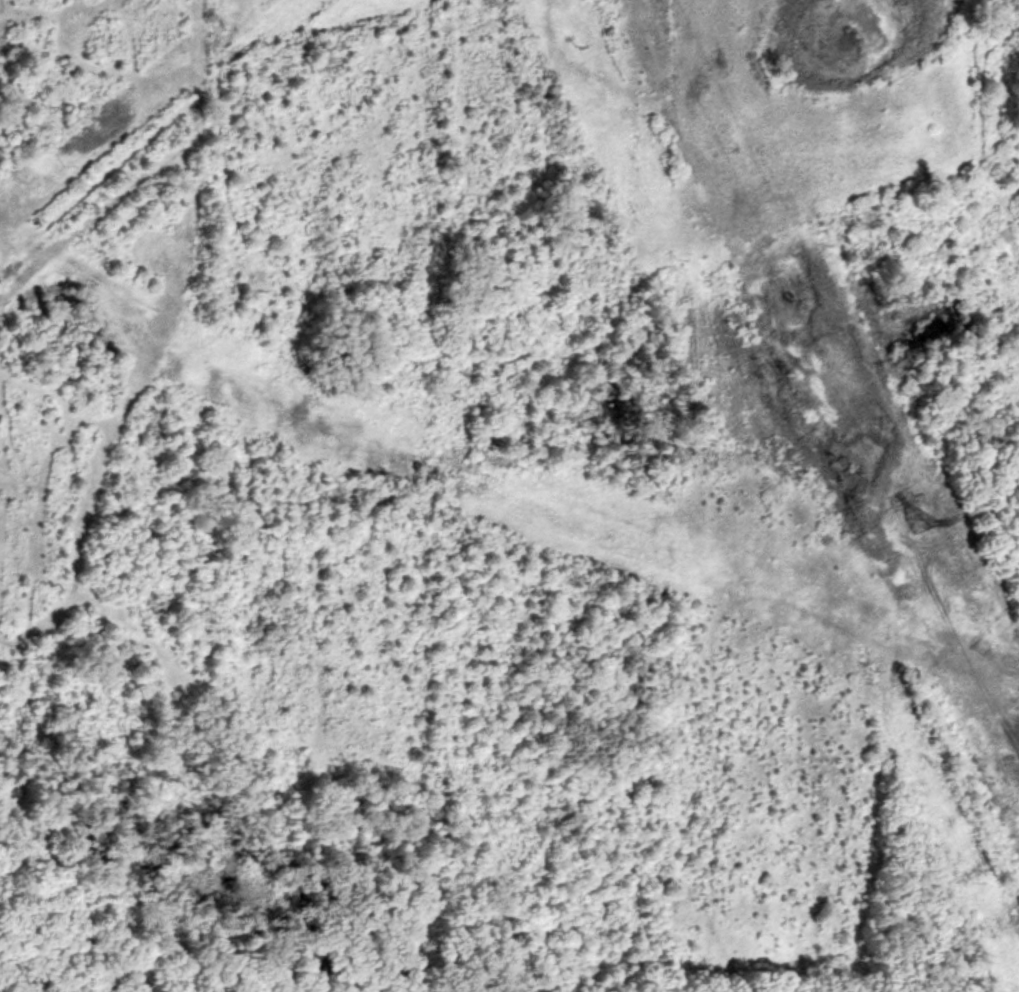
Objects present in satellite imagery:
power tower: (918, 520)

